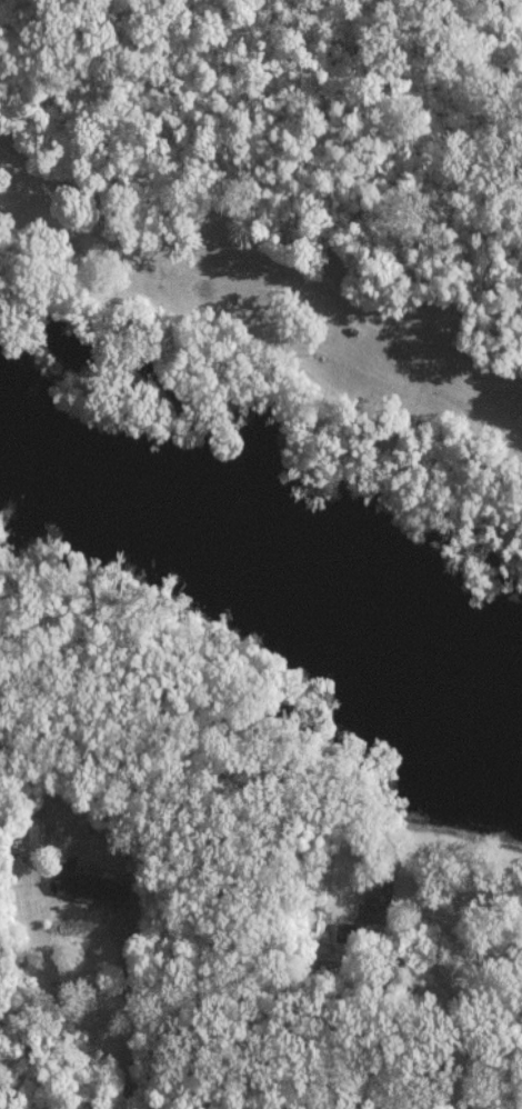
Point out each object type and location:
road: (262, 287)
building: (34, 828)
building: (89, 886)
building: (375, 899)
road: (130, 1013)

